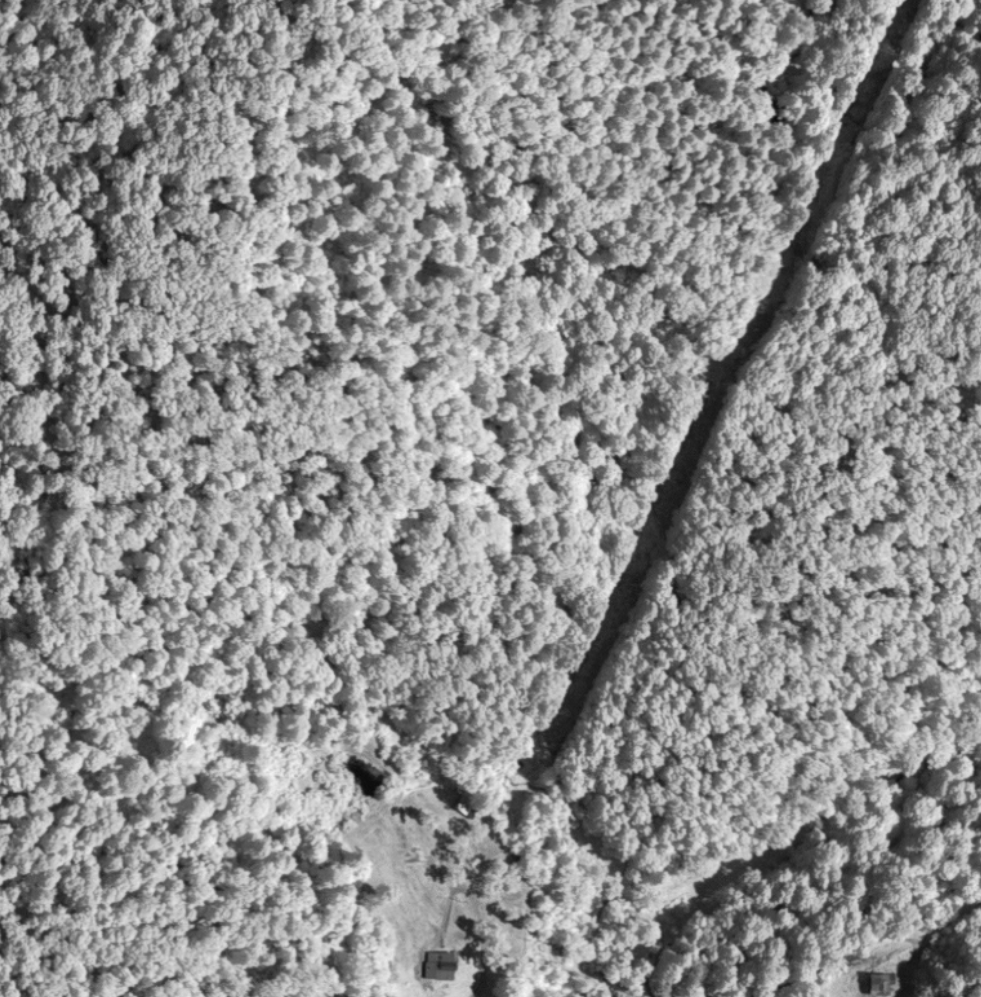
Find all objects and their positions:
road: (810, 820)
road: (621, 894)
road: (484, 937)
road: (848, 953)
building: (443, 962)
building: (882, 980)

